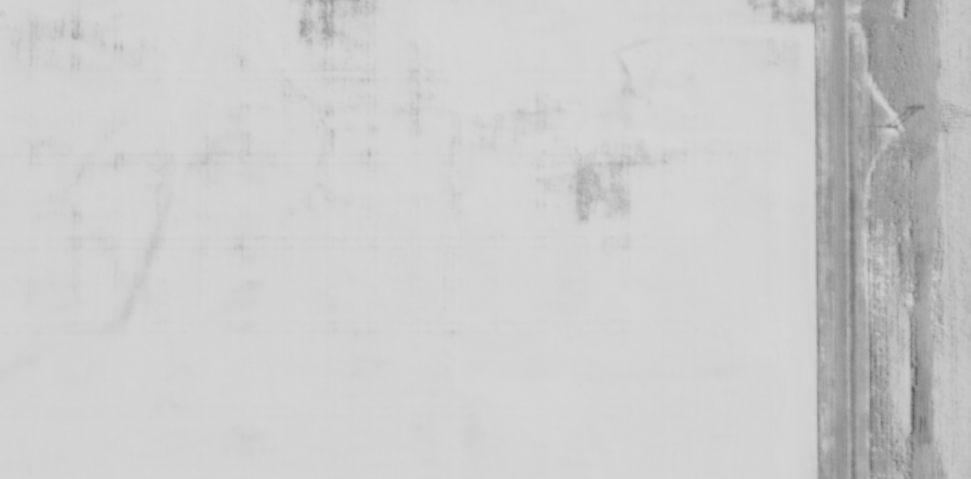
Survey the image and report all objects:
power tower: (891, 125)
road: (843, 239)

